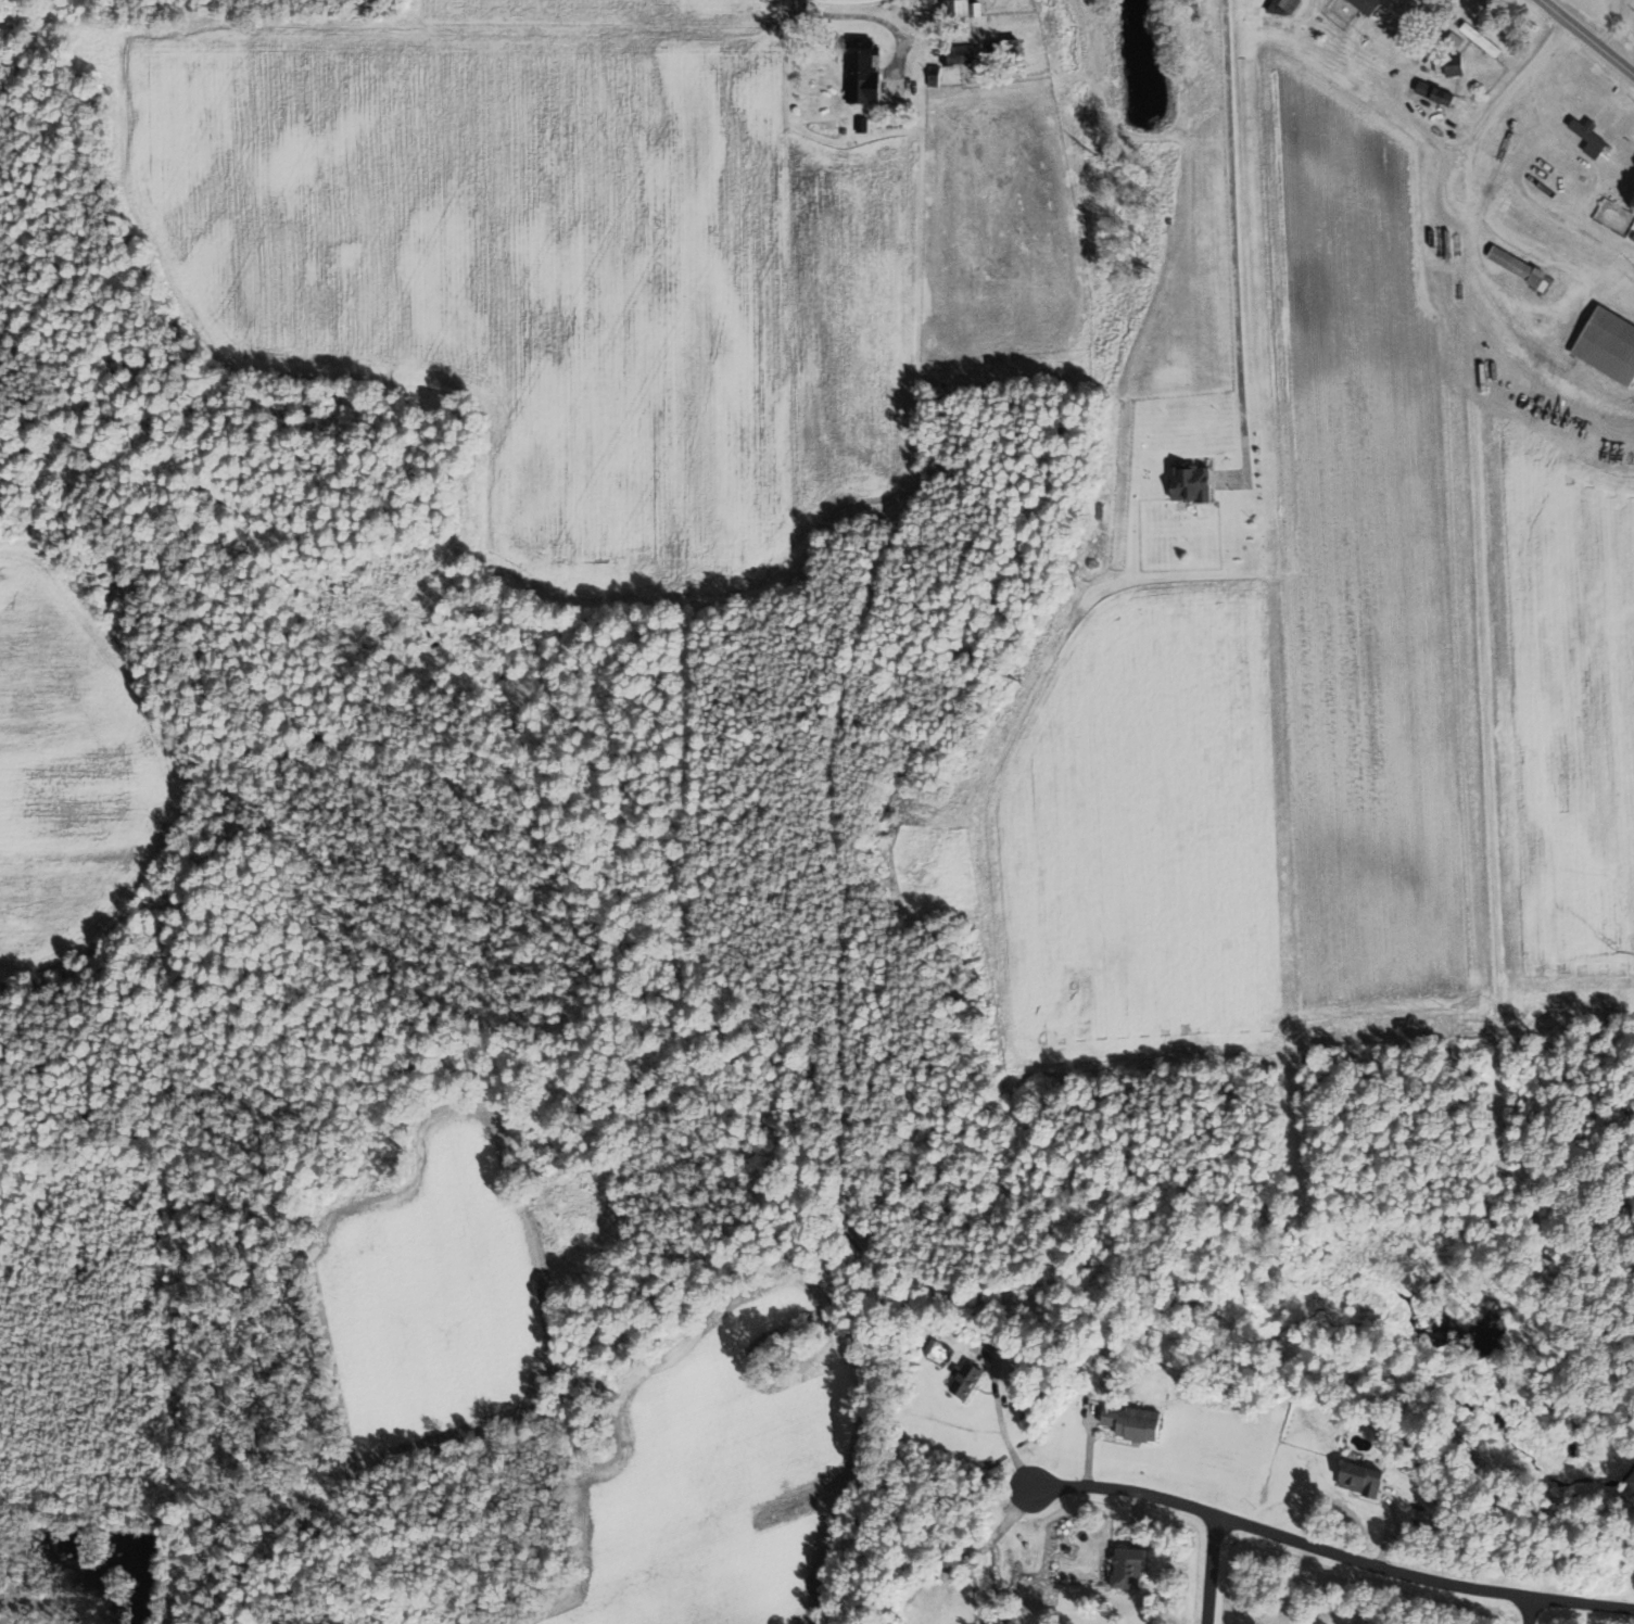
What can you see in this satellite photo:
crop: (841, 2)
building: (1287, 4)
building: (1364, 5)
road: (1478, 5)
building: (958, 8)
crop: (1011, 9)
road: (1380, 9)
crop: (605, 10)
road: (872, 16)
road: (53, 23)
road: (607, 24)
road: (1609, 24)
building: (1453, 37)
building: (1479, 38)
road: (1586, 38)
building: (1000, 46)
building: (955, 54)
building: (1452, 64)
building: (861, 72)
building: (932, 76)
building: (1433, 92)
building: (860, 124)
building: (1586, 132)
road: (1461, 169)
road: (920, 175)
road: (1588, 191)
road: (1473, 203)
building: (1632, 237)
road: (1233, 256)
road: (1550, 264)
building: (1518, 268)
crop: (554, 272)
road: (1562, 318)
road: (1522, 340)
building: (1607, 345)
building: (1190, 483)
crop: (1368, 559)
road: (1484, 710)
crop: (1561, 710)
crop: (74, 764)
road: (1279, 789)
crop: (1136, 837)
crop: (438, 1296)
building: (928, 1347)
building: (963, 1380)
road: (1000, 1421)
building: (1127, 1422)
road: (566, 1429)
road: (1089, 1447)
crop: (721, 1470)
building: (1358, 1479)
road: (1137, 1518)
road: (1385, 1528)
road: (971, 1548)
road: (1331, 1551)
building: (1126, 1566)
road: (1211, 1569)
road: (1530, 1610)

